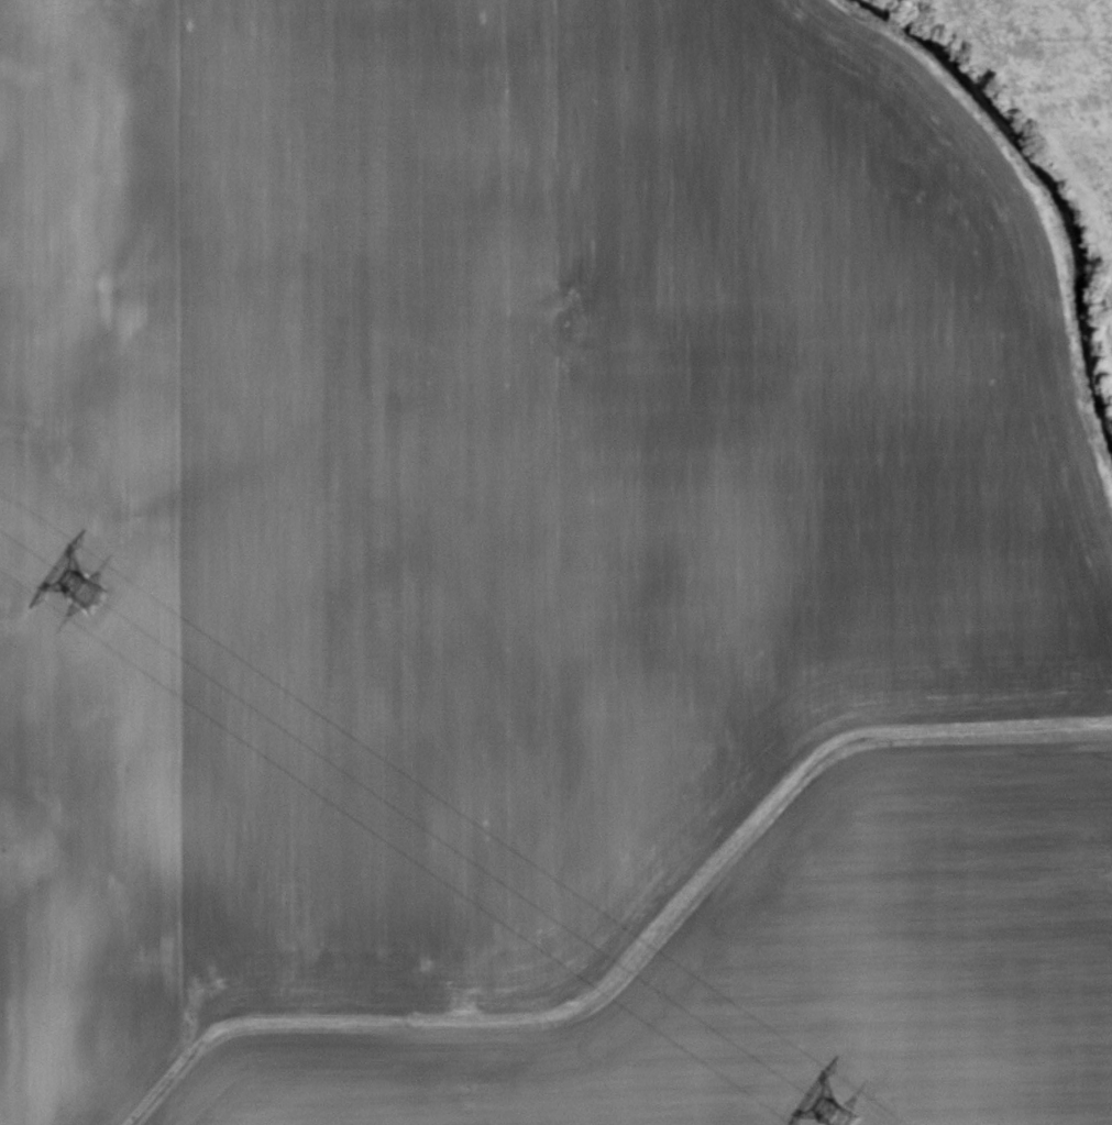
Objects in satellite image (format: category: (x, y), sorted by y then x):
power tower: (79, 609)
power tower: (839, 1120)

